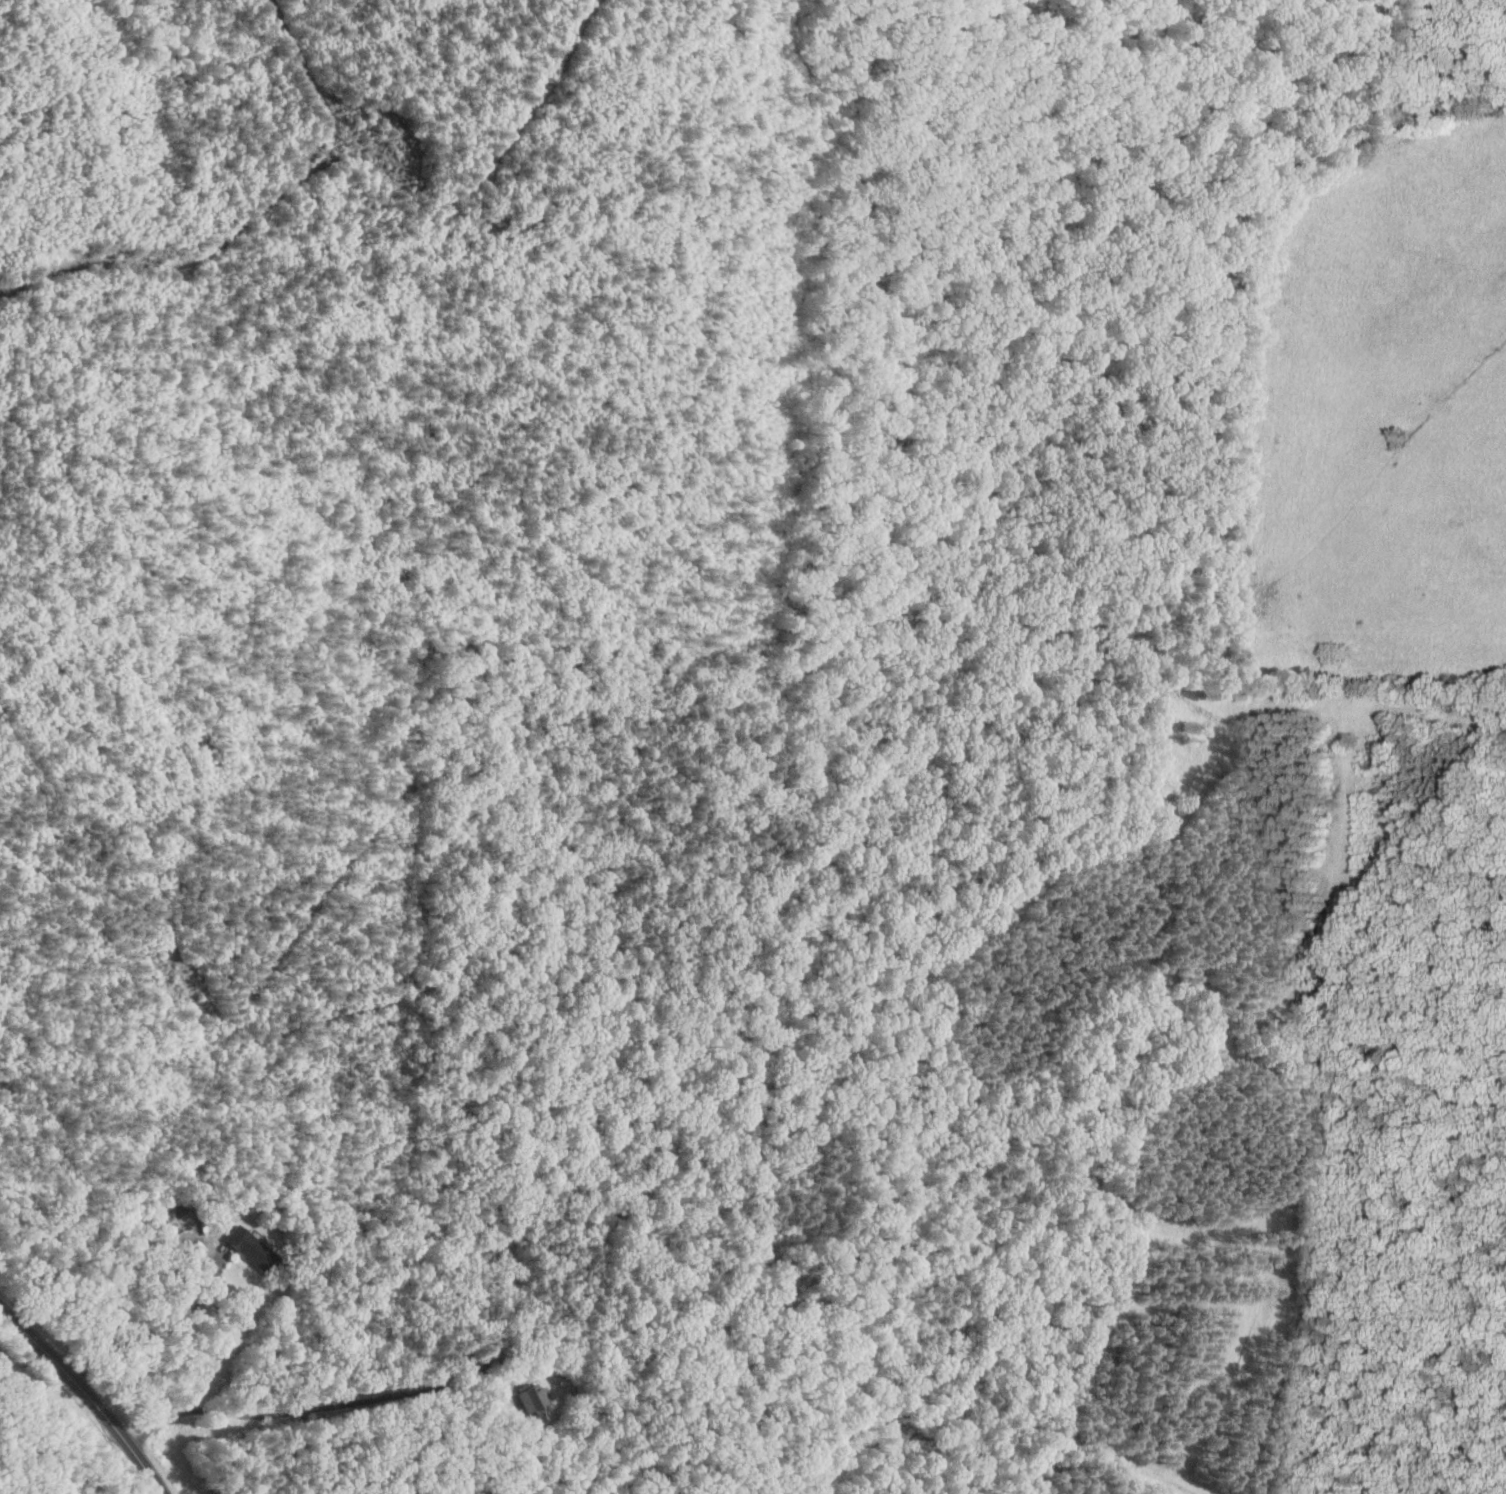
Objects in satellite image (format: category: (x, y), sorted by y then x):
building: (241, 1247)
road: (159, 1331)
road: (87, 1395)
road: (303, 1409)

